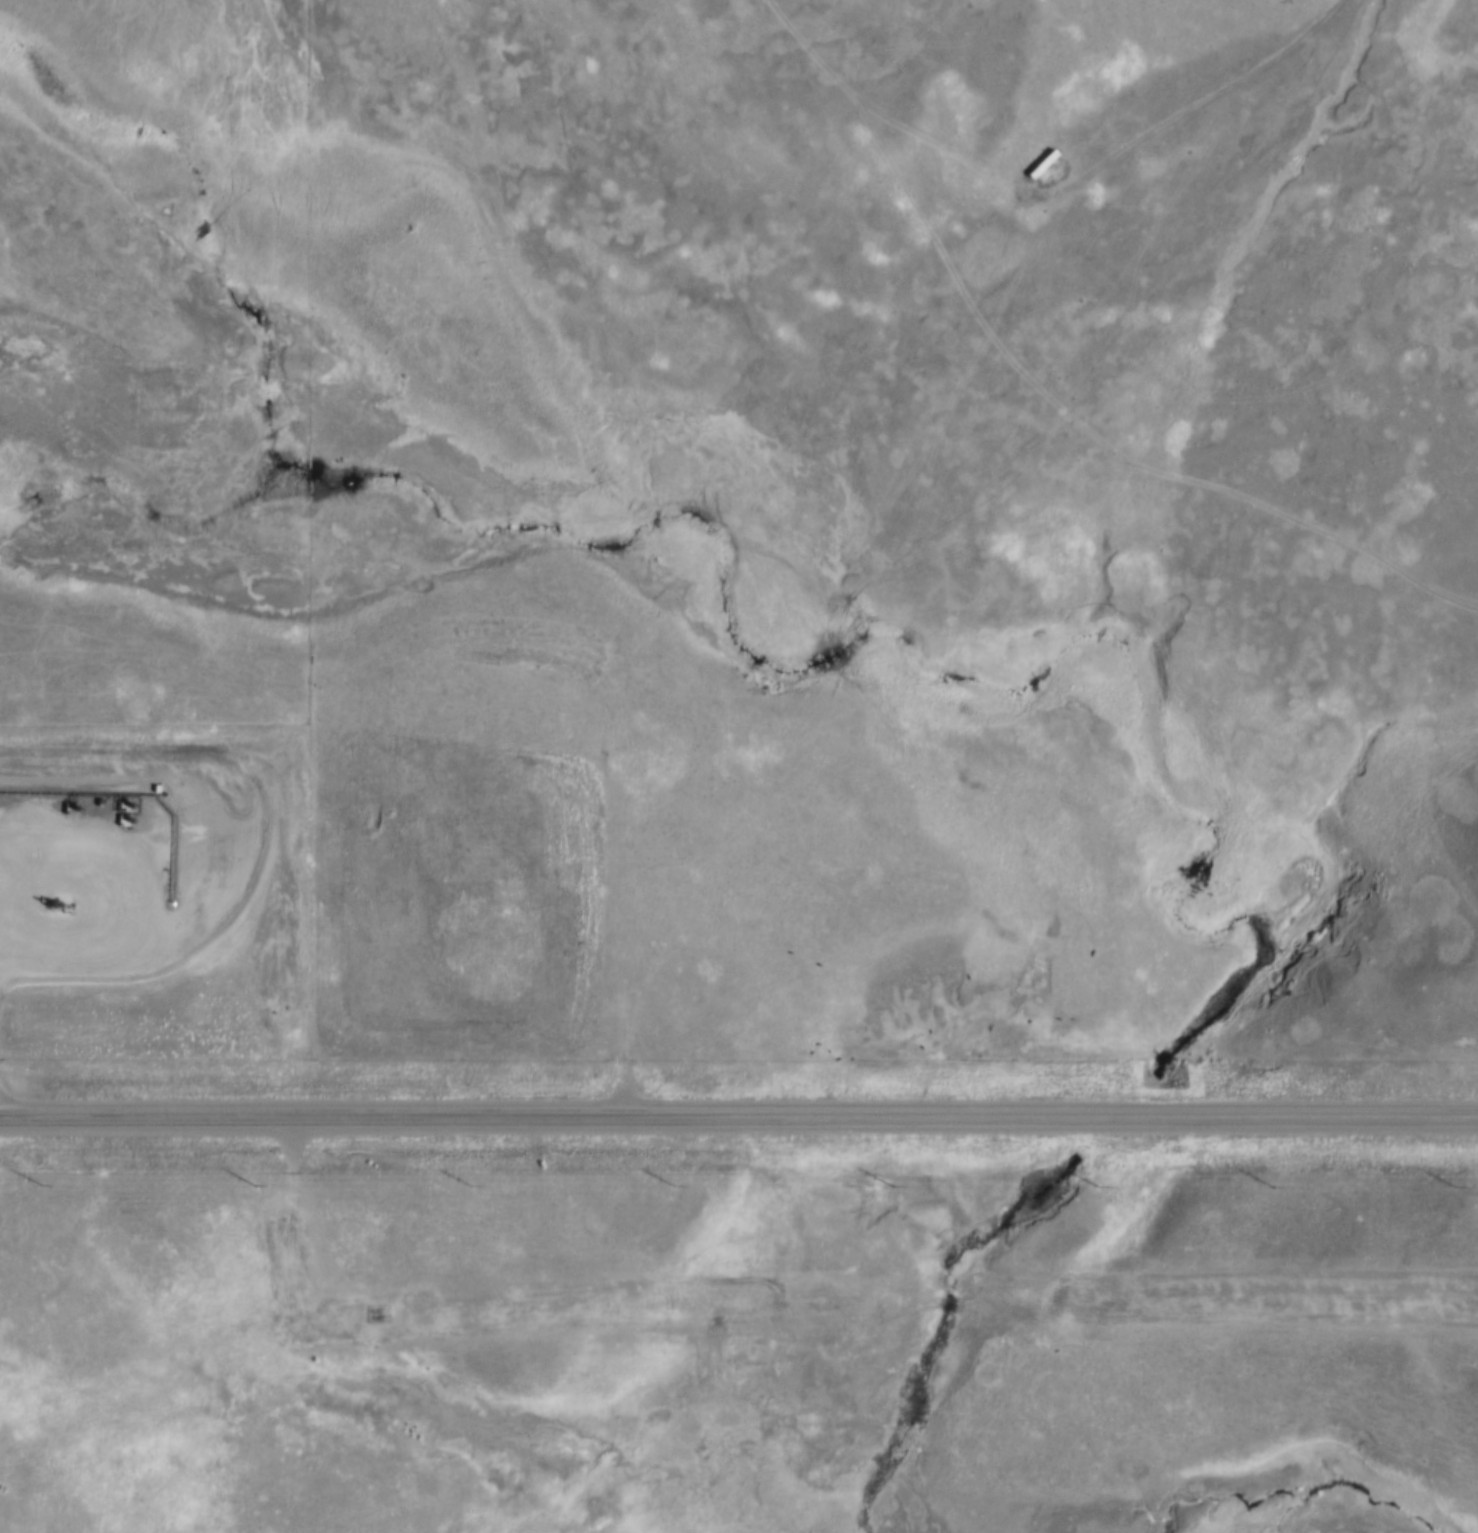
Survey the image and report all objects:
road: (113, 894)
petroleum well: (58, 902)
road: (739, 1123)

